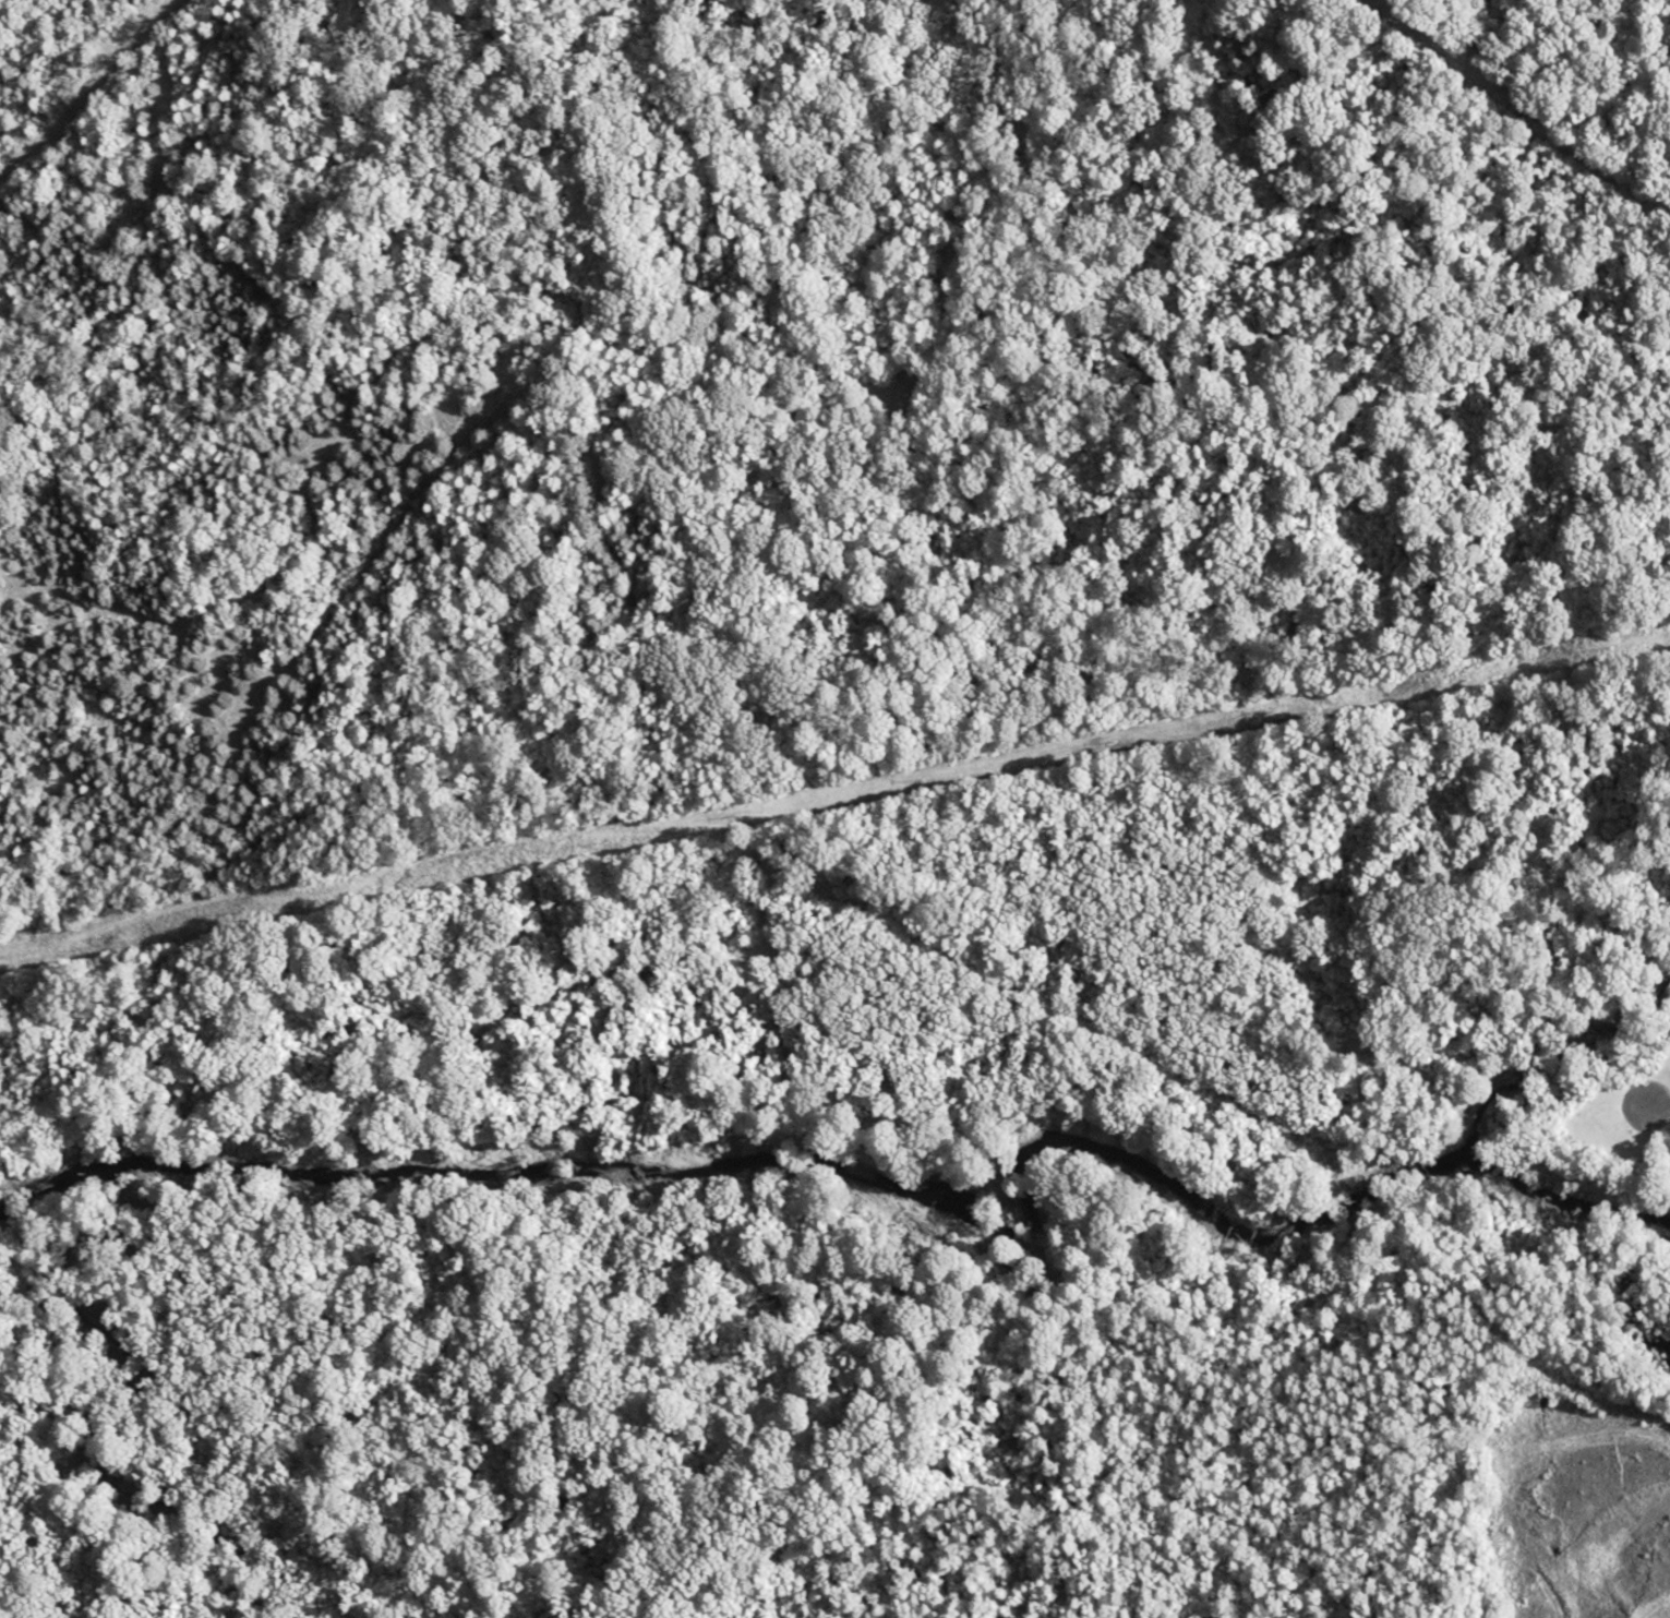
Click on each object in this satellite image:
road: (1656, 1107)

